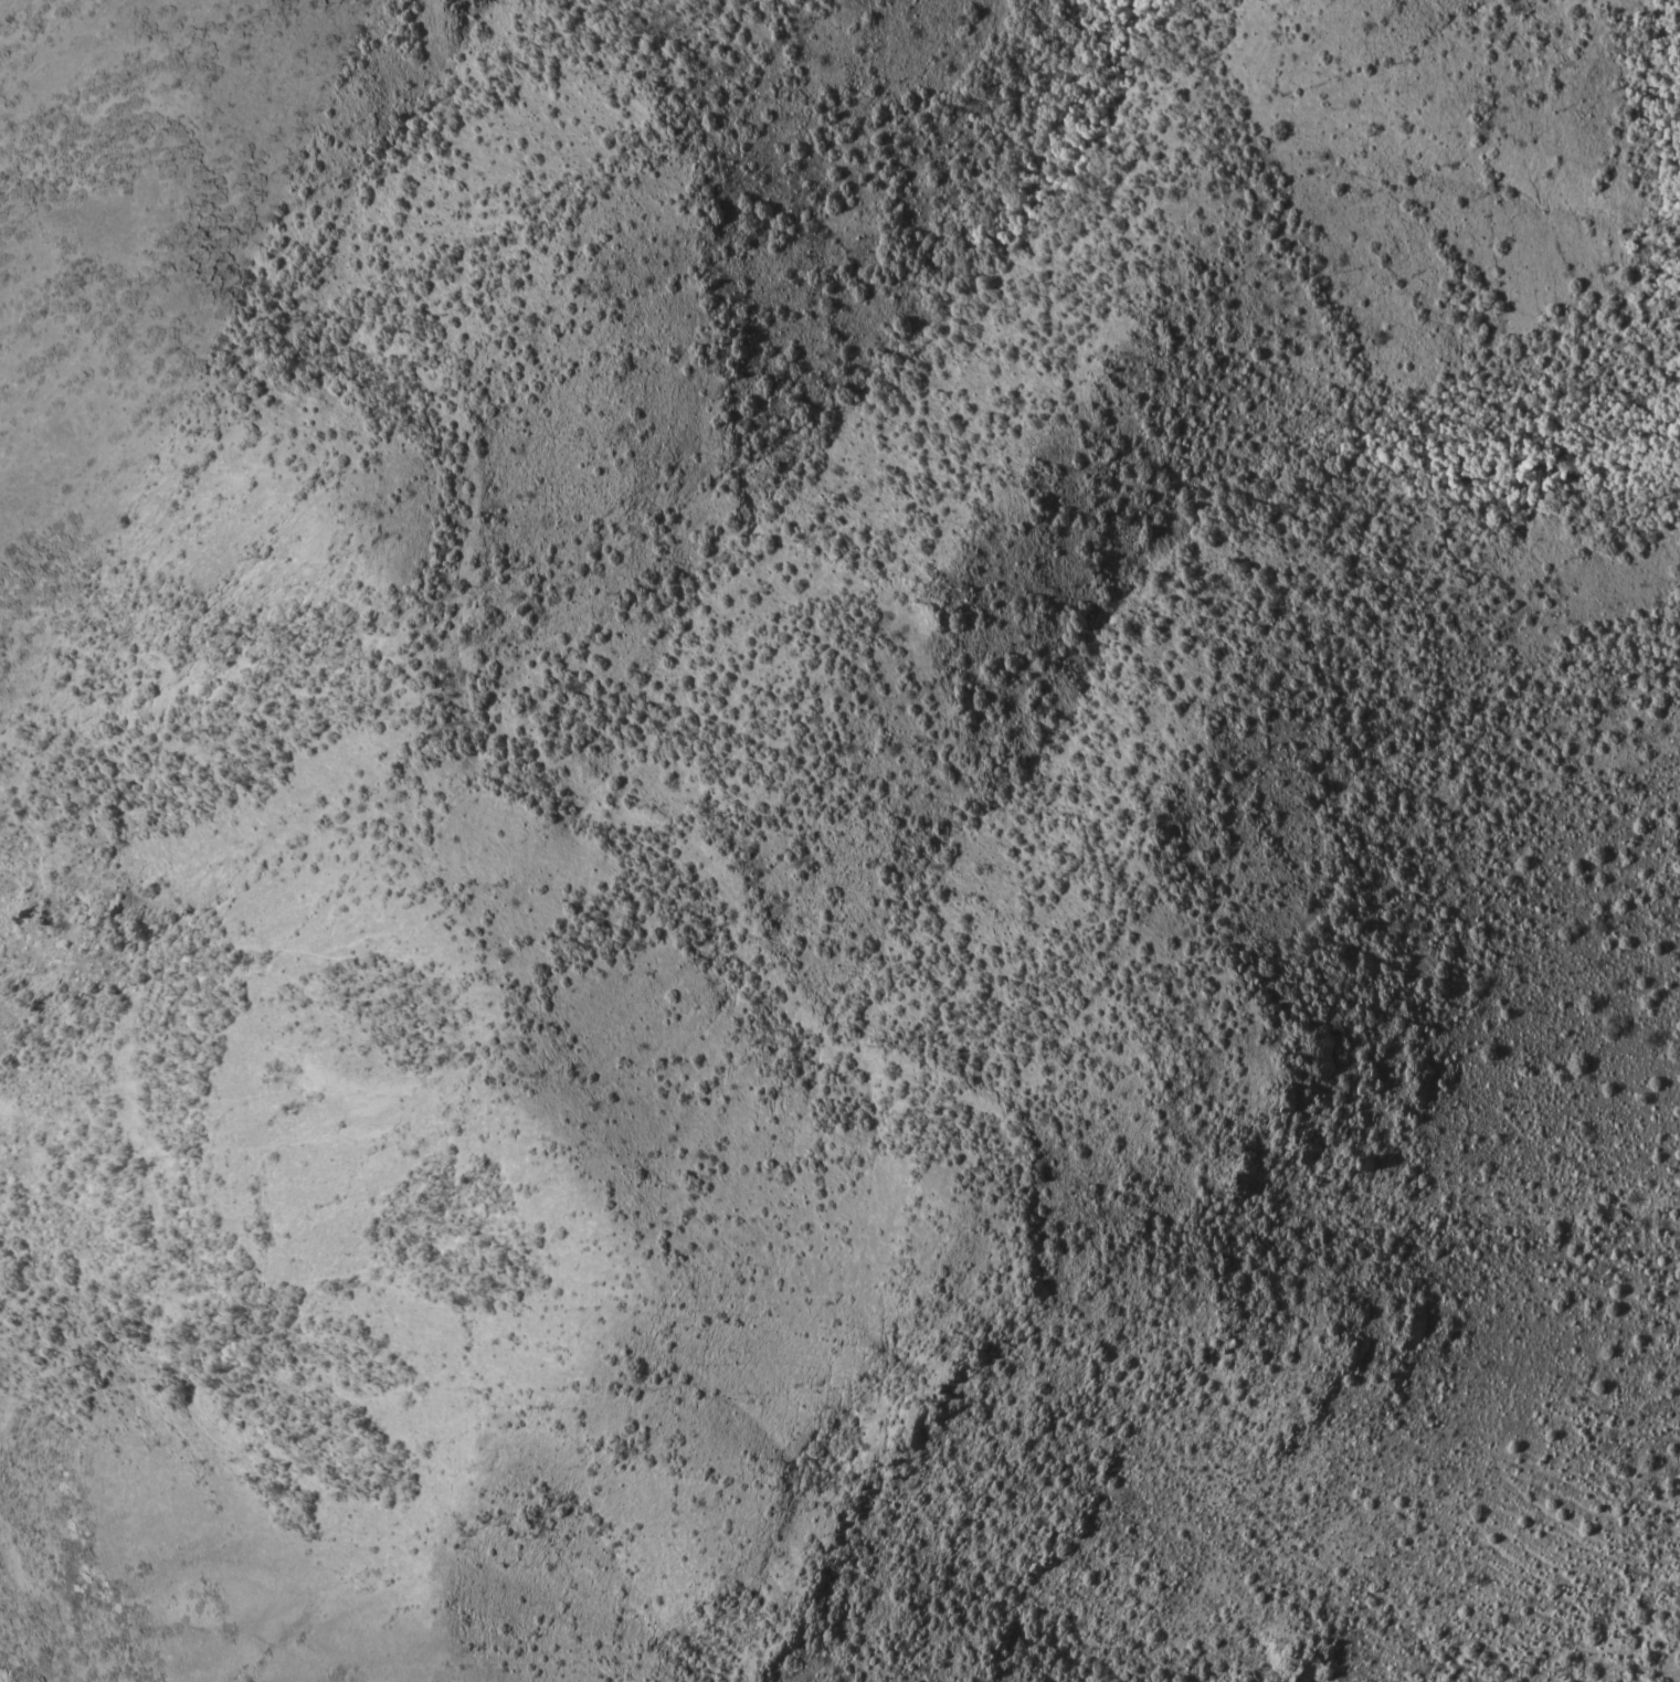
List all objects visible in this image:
road: (1679, 1)

